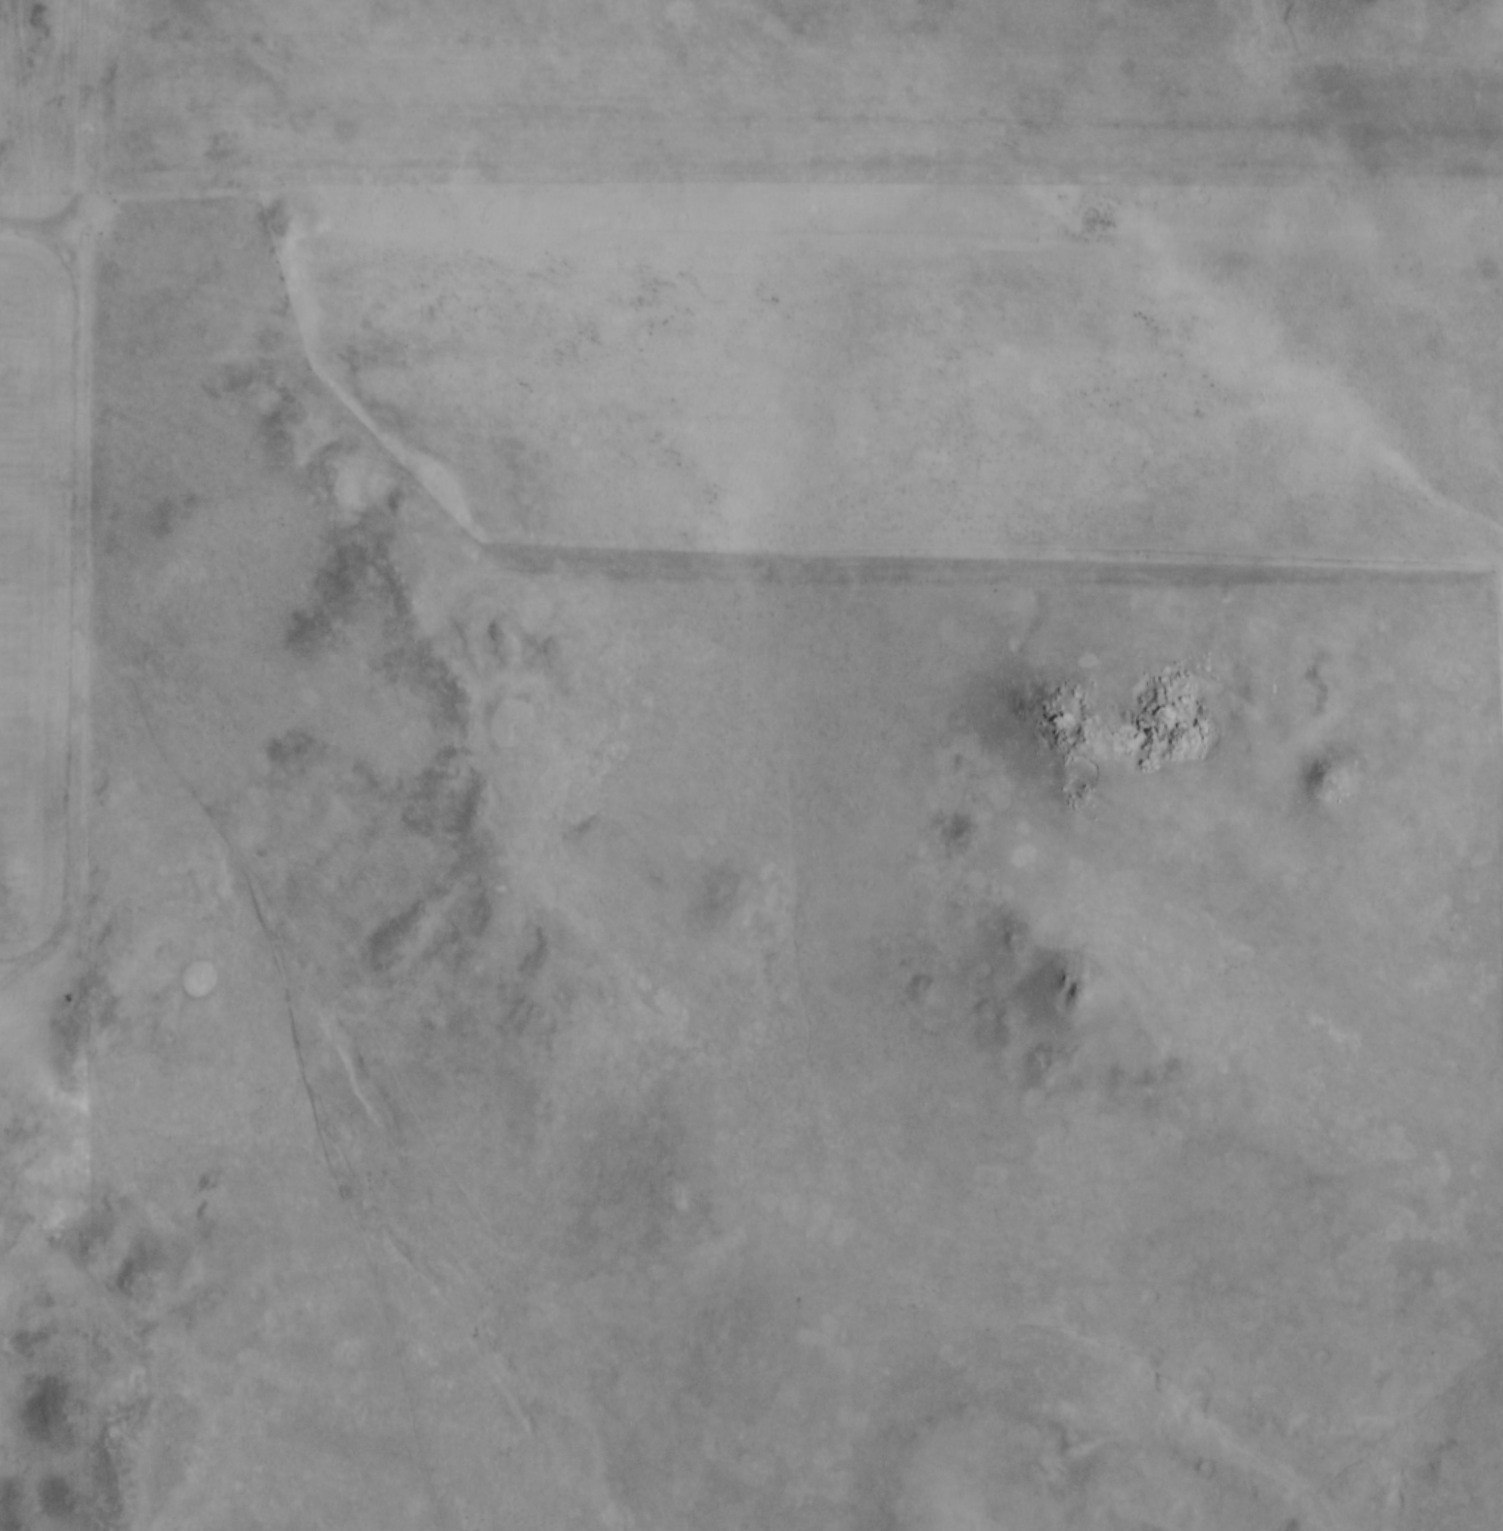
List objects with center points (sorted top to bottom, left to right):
road: (85, 106)
road: (36, 222)

